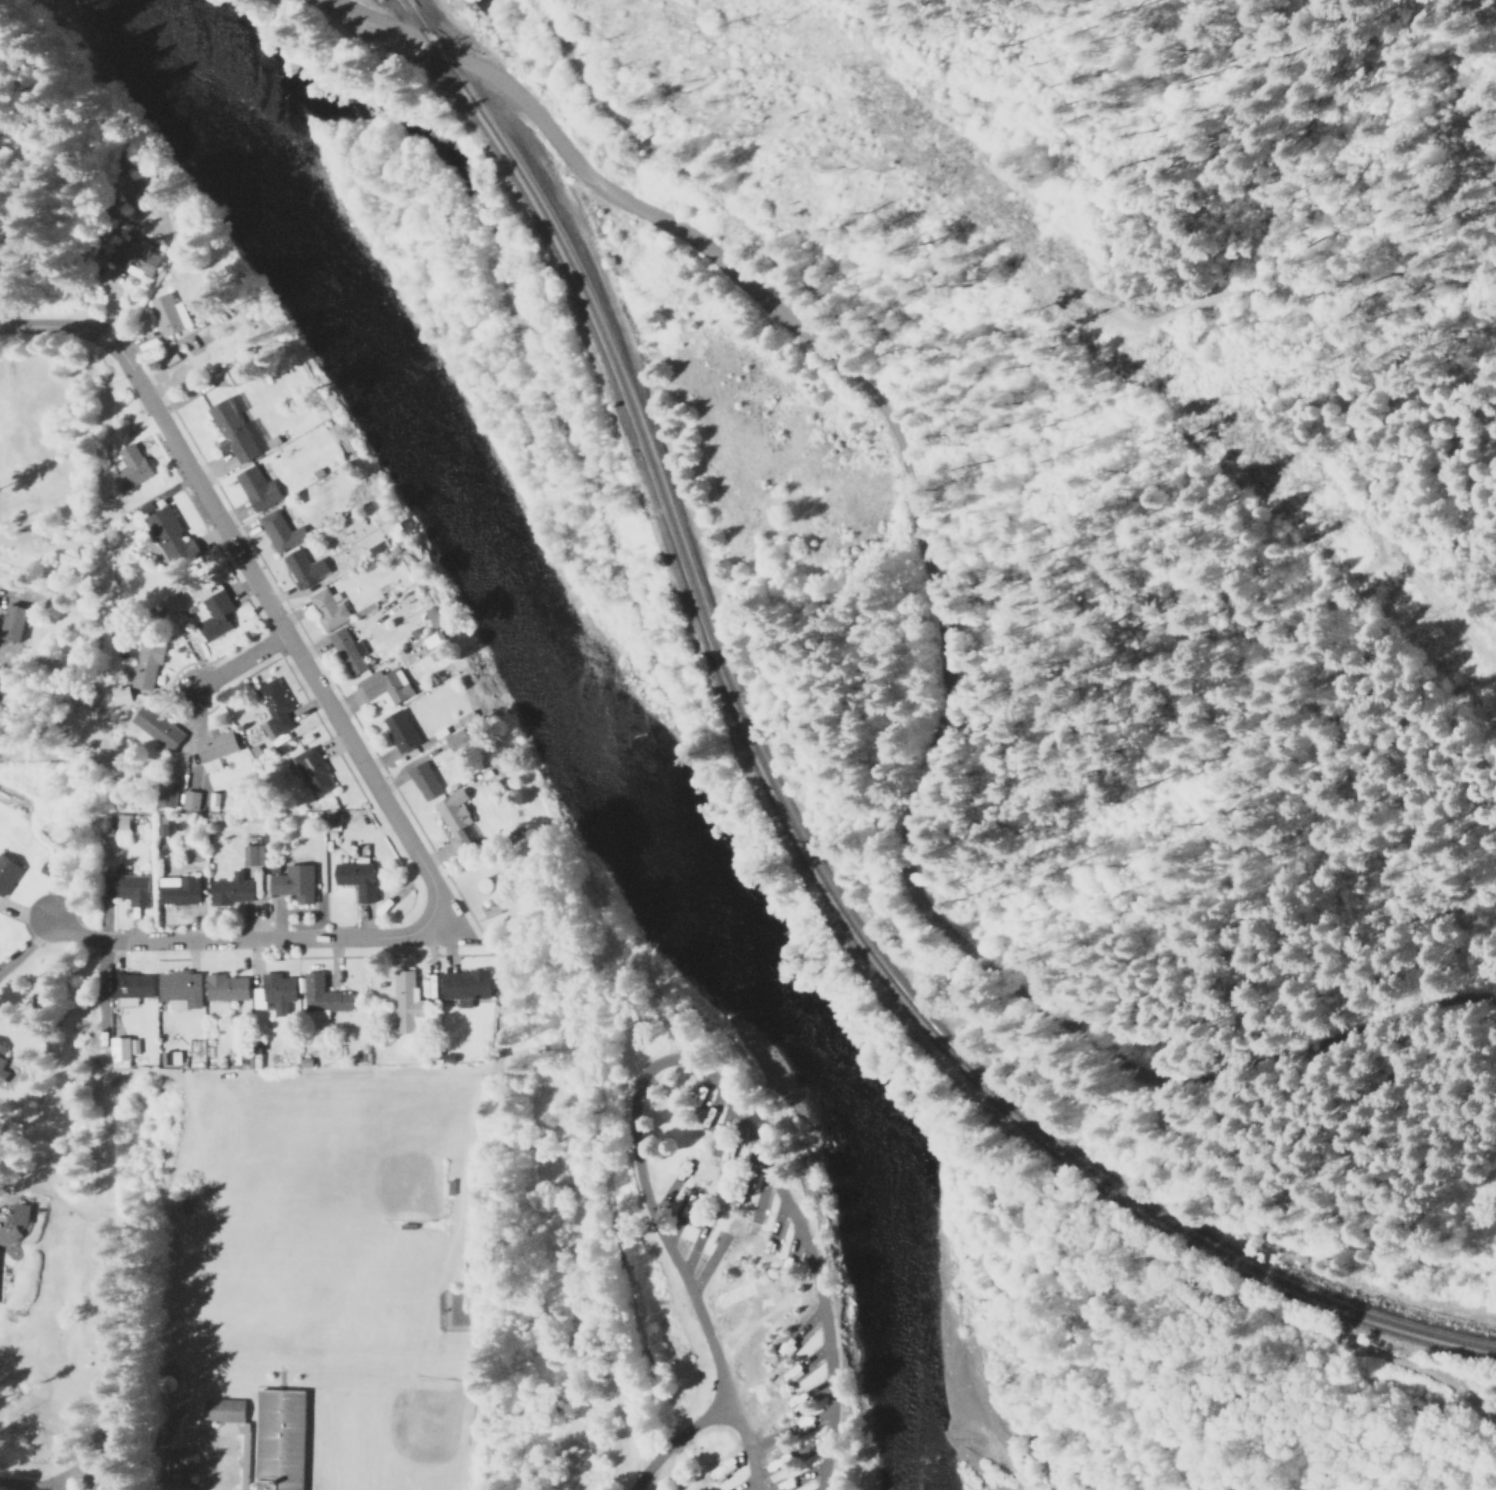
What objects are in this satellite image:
building: (134, 257)
building: (168, 313)
building: (237, 429)
building: (131, 467)
building: (257, 487)
building: (281, 530)
building: (171, 535)
building: (377, 545)
building: (305, 566)
road: (249, 581)
building: (329, 607)
building: (214, 611)
building: (12, 622)
road: (934, 629)
building: (349, 650)
road: (238, 664)
building: (385, 685)
building: (121, 694)
building: (275, 705)
building: (156, 728)
building: (401, 729)
river: (573, 734)
building: (217, 743)
building: (314, 770)
building: (425, 779)
building: (165, 794)
building: (190, 799)
building: (214, 800)
building: (456, 818)
building: (122, 820)
railway: (787, 822)
building: (252, 850)
building: (7, 873)
building: (356, 878)
building: (292, 882)
building: (131, 888)
building: (232, 888)
building: (178, 889)
road: (1403, 925)
road: (241, 942)
building: (465, 984)
building: (131, 986)
building: (180, 986)
building: (226, 986)
building: (275, 992)
building: (323, 995)
building: (408, 1003)
parking lot: (1389, 1019)
building: (122, 1049)
building: (170, 1056)
road: (678, 1061)
park: (381, 1166)
building: (20, 1212)
building: (224, 1414)
park: (395, 1427)
road: (675, 1440)
building: (280, 1442)
road: (160, 1445)
river: (934, 1447)
building: (181, 1469)

